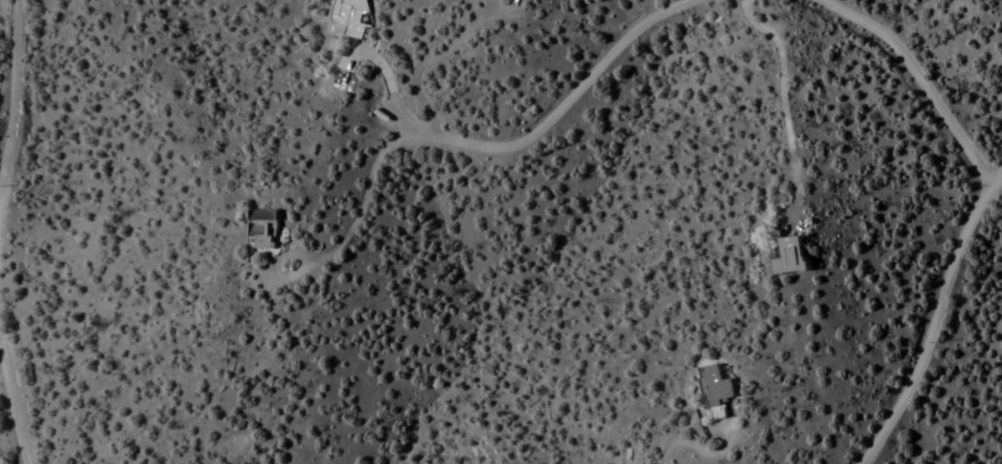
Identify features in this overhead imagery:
building: (349, 16)
road: (913, 74)
road: (12, 82)
road: (541, 116)
road: (6, 126)
road: (386, 148)
building: (260, 229)
building: (790, 256)
road: (933, 313)
building: (715, 391)
road: (9, 403)

